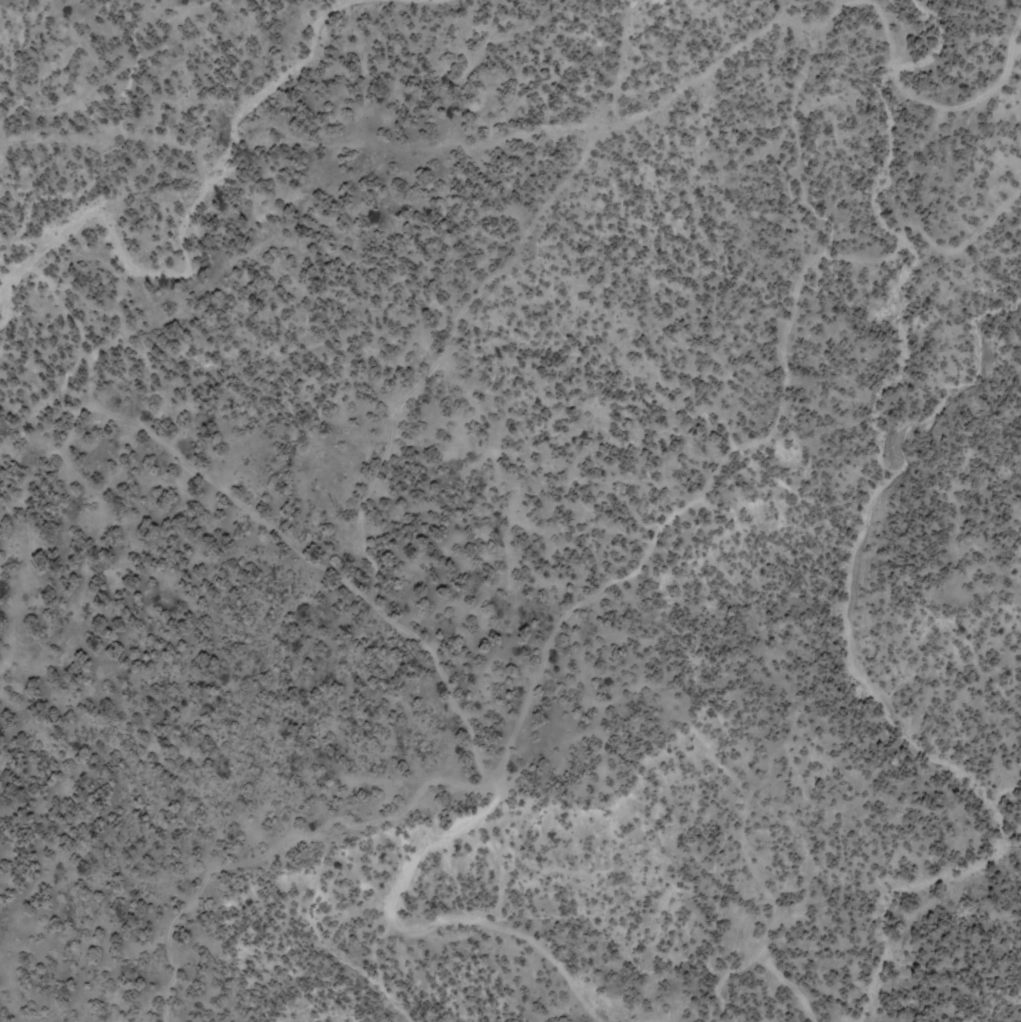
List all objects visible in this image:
road: (821, 25)
road: (250, 80)
road: (918, 100)
road: (514, 129)
road: (99, 138)
road: (124, 267)
road: (441, 354)
road: (44, 406)
road: (747, 445)
road: (37, 467)
road: (466, 725)

